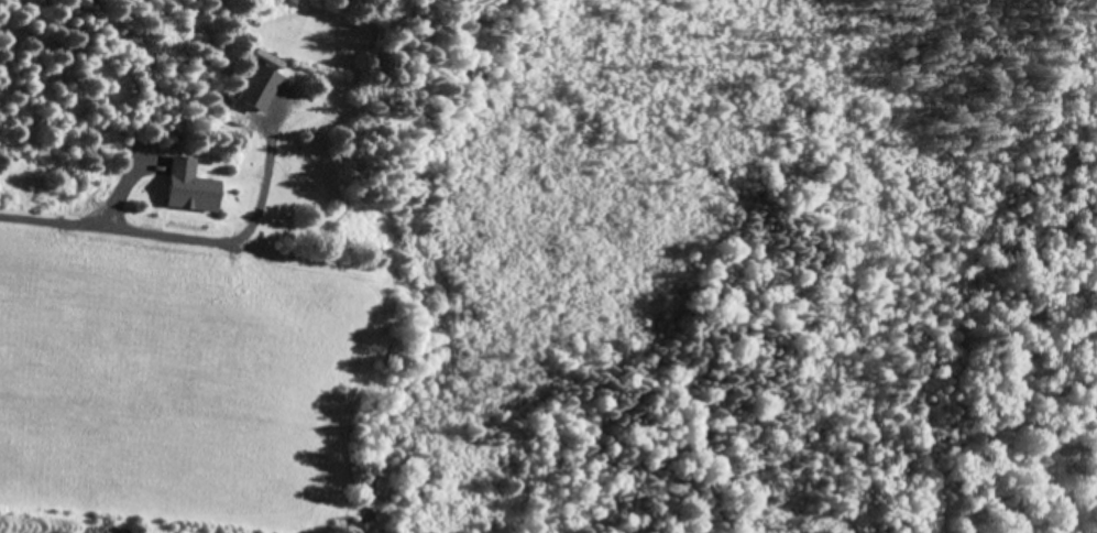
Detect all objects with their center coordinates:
building: (260, 86)

